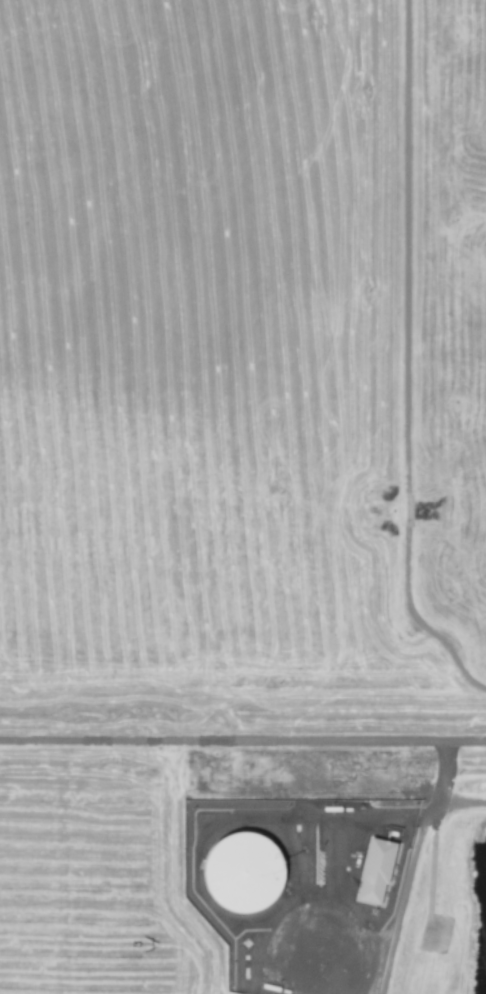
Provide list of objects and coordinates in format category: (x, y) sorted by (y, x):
road: (405, 360)
railway: (243, 735)
road: (242, 742)
road: (463, 799)
road: (410, 866)
building: (377, 869)
building: (244, 875)
storage tank: (244, 875)

